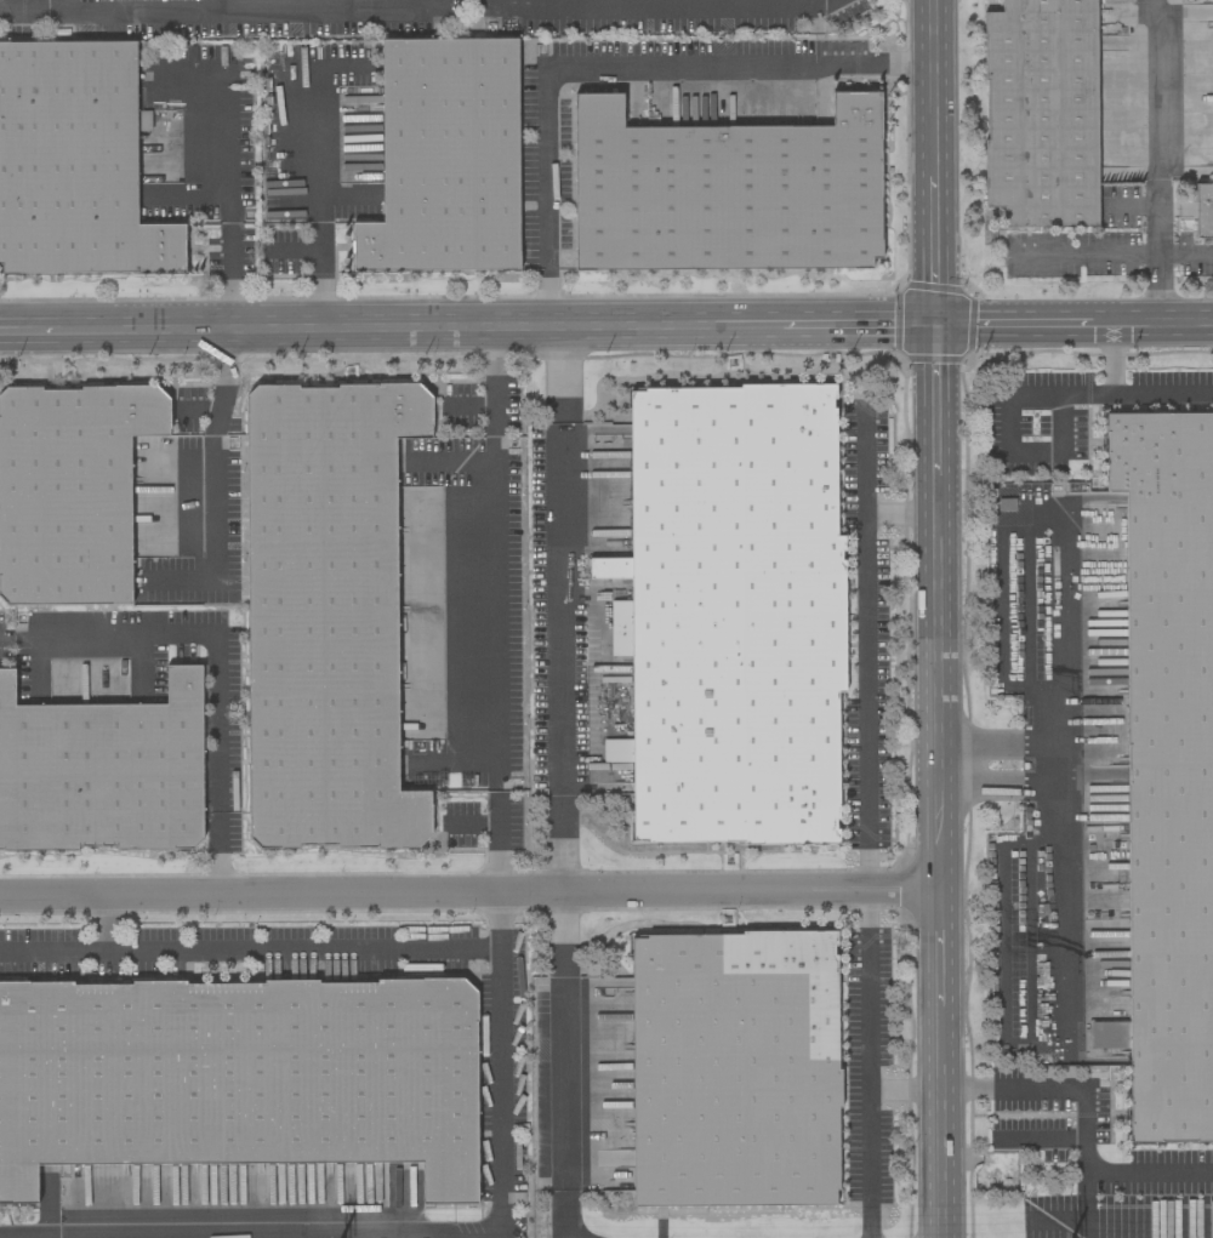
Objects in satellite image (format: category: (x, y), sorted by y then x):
road: (213, 5)
road: (617, 65)
building: (1041, 113)
road: (218, 149)
building: (445, 159)
road: (1161, 159)
road: (934, 161)
building: (74, 164)
building: (727, 192)
building: (1203, 211)
road: (1086, 253)
road: (1185, 253)
road: (232, 275)
road: (1074, 321)
traffic signals: (935, 324)
road: (467, 326)
road: (1111, 356)
road: (490, 381)
road: (1135, 392)
road: (1012, 451)
road: (216, 485)
building: (67, 494)
road: (901, 513)
road: (936, 606)
road: (562, 607)
road: (492, 614)
building: (326, 616)
building: (730, 616)
road: (1061, 634)
road: (101, 639)
road: (867, 652)
building: (98, 760)
road: (222, 760)
road: (1058, 765)
building: (1168, 766)
road: (496, 842)
road: (905, 890)
road: (434, 892)
road: (1059, 897)
road: (109, 928)
road: (252, 955)
road: (871, 988)
building: (237, 1063)
road: (940, 1063)
road: (564, 1065)
road: (507, 1066)
building: (735, 1071)
road: (906, 1086)
road: (1087, 1122)
road: (871, 1163)
building: (998, 1173)
road: (1087, 1206)

